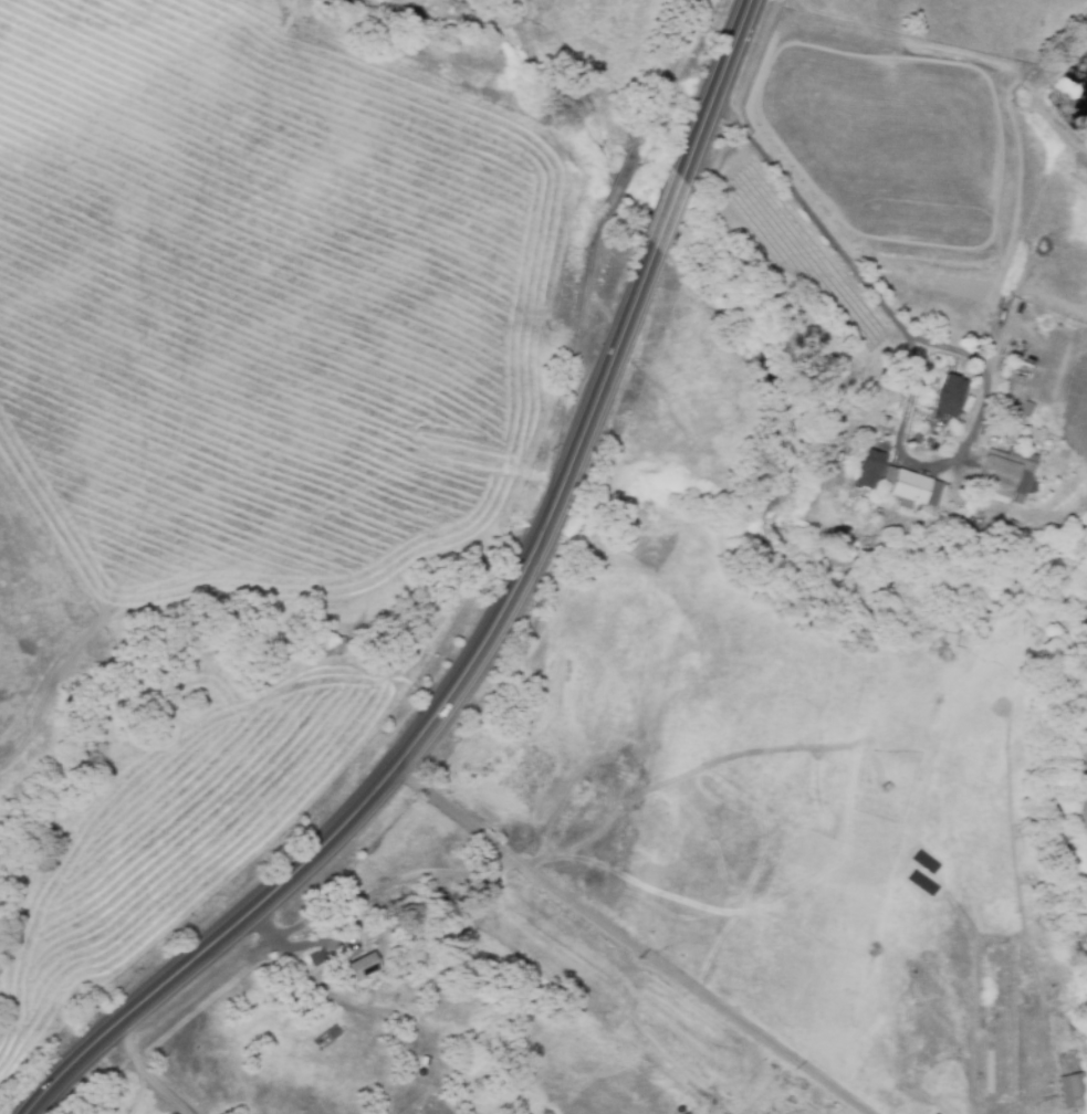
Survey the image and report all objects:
road: (717, 88)
road: (673, 211)
road: (919, 357)
building: (948, 396)
building: (1028, 412)
building: (869, 461)
building: (1006, 476)
building: (914, 487)
road: (416, 734)
road: (291, 943)
road: (634, 946)
building: (365, 966)

